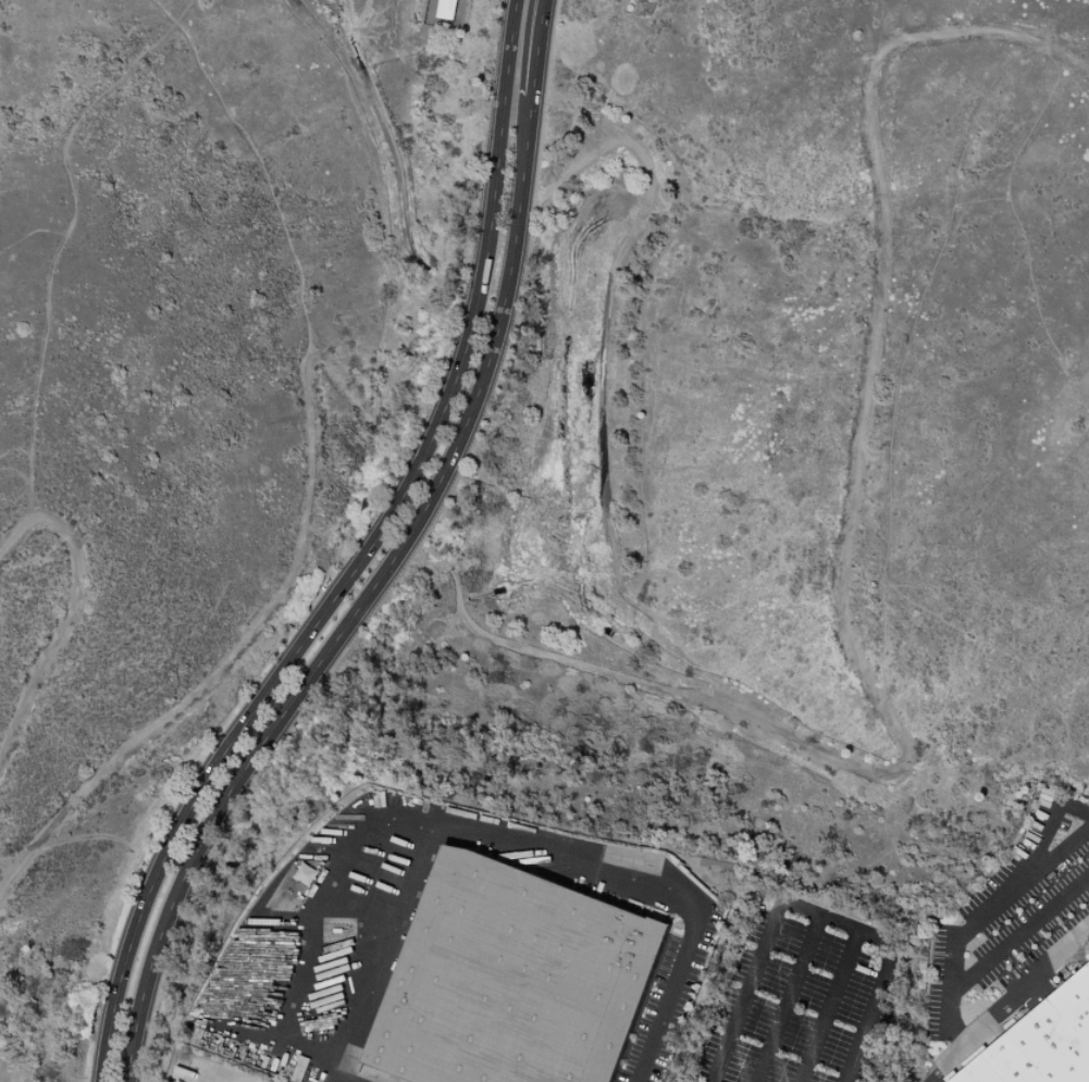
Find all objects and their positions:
building: (446, 10)
road: (257, 159)
road: (67, 236)
road: (492, 240)
road: (513, 246)
road: (346, 390)
road: (603, 394)
road: (405, 495)
road: (416, 506)
road: (424, 507)
road: (841, 560)
road: (71, 610)
road: (231, 657)
road: (207, 782)
road: (228, 789)
road: (1063, 844)
road: (515, 847)
building: (302, 873)
road: (985, 906)
road: (808, 911)
road: (1020, 933)
building: (515, 980)
park: (807, 993)
road: (1027, 997)
road: (782, 998)
parking lot: (797, 998)
road: (832, 1006)
building: (1042, 1042)
road: (949, 1067)

